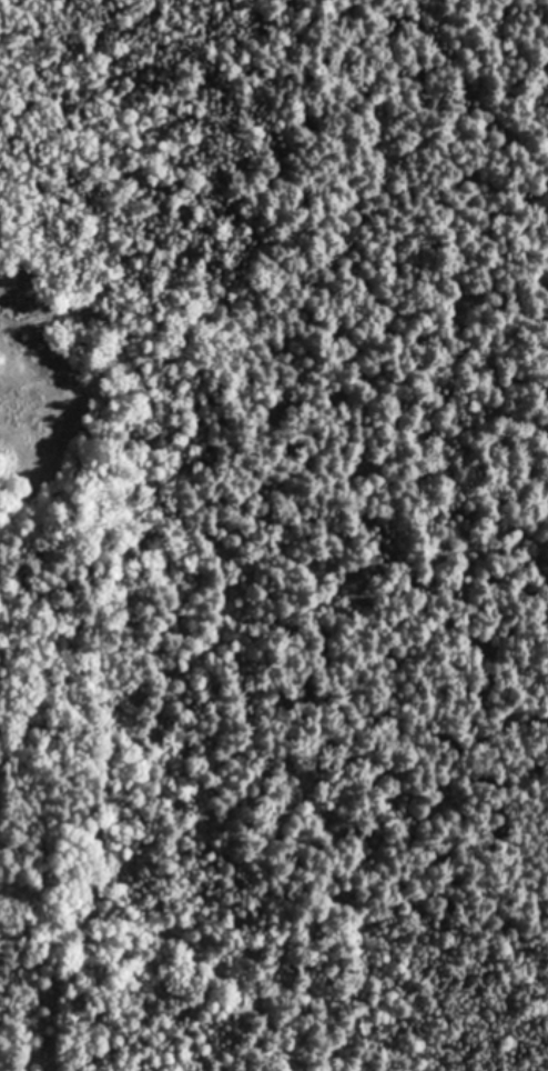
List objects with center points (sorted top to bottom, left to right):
road: (16, 380)
road: (183, 938)

